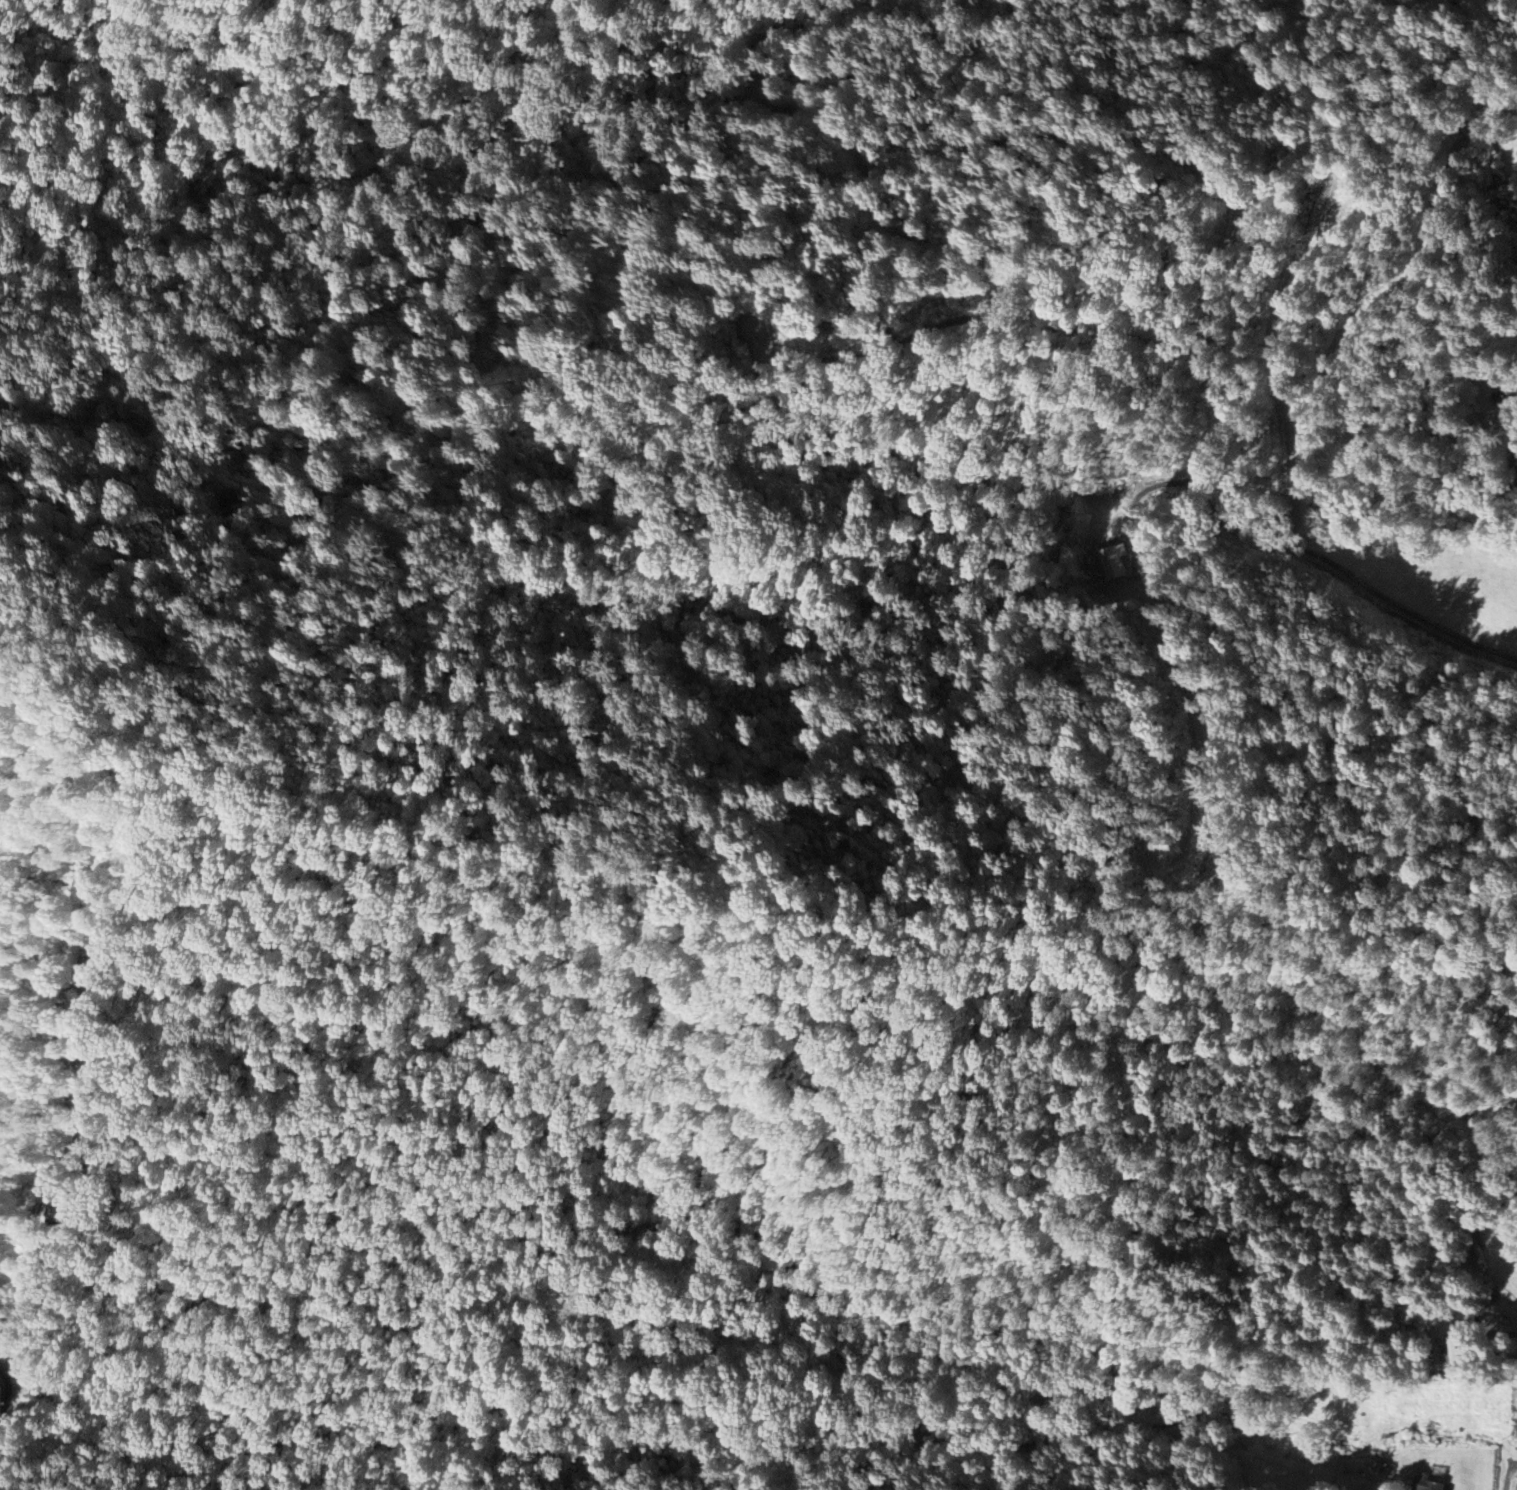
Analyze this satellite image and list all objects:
building: (1111, 562)
building: (98, 967)
road: (88, 1076)
building: (71, 1210)
road: (35, 1246)
building: (1477, 1249)
building: (1452, 1353)
road: (12, 1399)
building: (1382, 1468)
road: (1508, 1474)
building: (1433, 1484)

